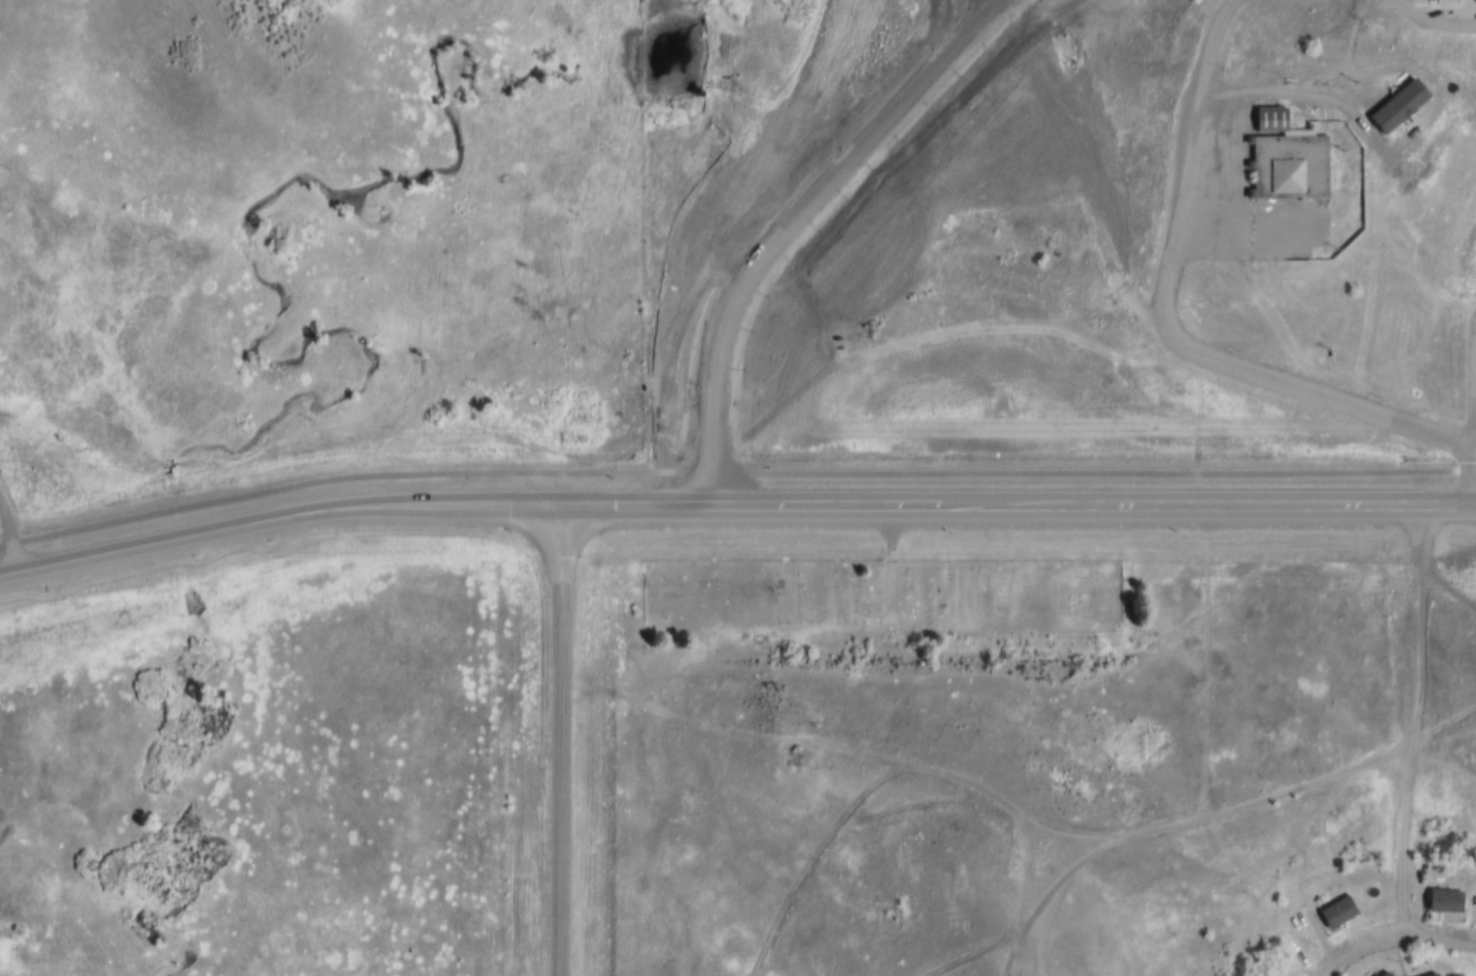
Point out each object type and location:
building: (1428, 1)
road: (1433, 26)
building: (1396, 108)
building: (1268, 119)
building: (1286, 168)
road: (729, 235)
road: (1165, 323)
road: (1024, 510)
road: (21, 518)
road: (284, 519)
park: (880, 590)
road: (559, 742)
road: (1286, 804)
road: (1412, 816)
building: (1442, 899)
building: (1334, 911)
road: (1396, 935)
building: (1382, 973)
building: (1427, 973)

